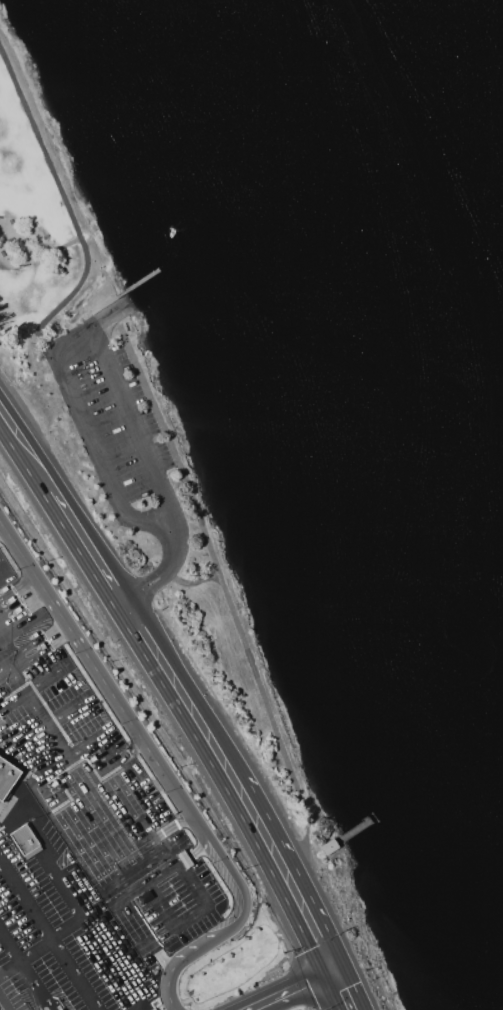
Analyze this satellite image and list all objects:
road: (66, 245)
road: (64, 299)
road: (124, 310)
road: (108, 354)
park: (133, 425)
parking lot: (123, 428)
road: (25, 453)
road: (6, 535)
road: (87, 549)
road: (194, 582)
road: (225, 588)
road: (30, 600)
parking lot: (16, 602)
road: (60, 640)
road: (180, 696)
parking lot: (68, 740)
road: (129, 750)
road: (162, 769)
building: (7, 777)
road: (23, 779)
road: (162, 786)
road: (144, 787)
road: (137, 791)
airport: (110, 821)
road: (167, 822)
road: (188, 822)
pier: (358, 828)
building: (24, 839)
building: (329, 847)
building: (73, 865)
road: (289, 876)
road: (78, 890)
parking lot: (101, 911)
road: (94, 932)
road: (49, 935)
road: (47, 938)
road: (7, 949)
road: (7, 965)
traffic signals: (337, 971)
road: (29, 985)
road: (295, 990)
road: (345, 990)
road: (3, 1004)
parking lot: (0, 1008)

